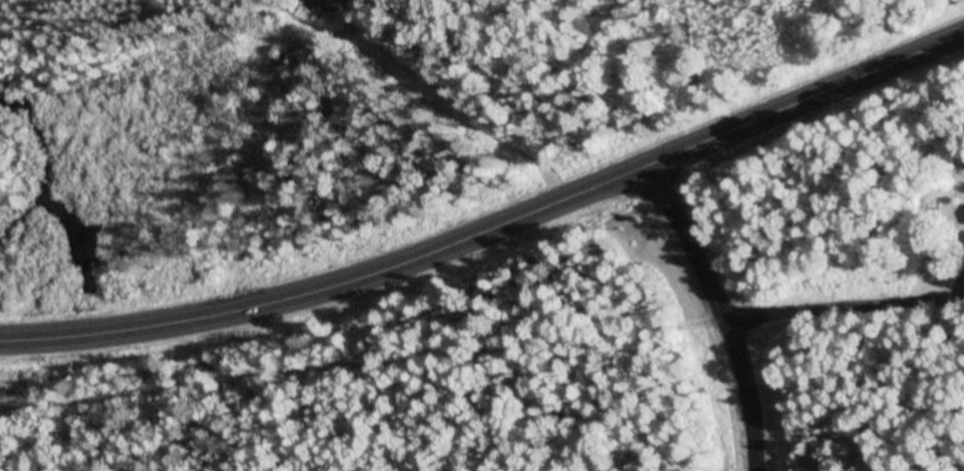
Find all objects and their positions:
road: (55, 7)
road: (492, 223)
road: (844, 307)
road: (720, 309)

